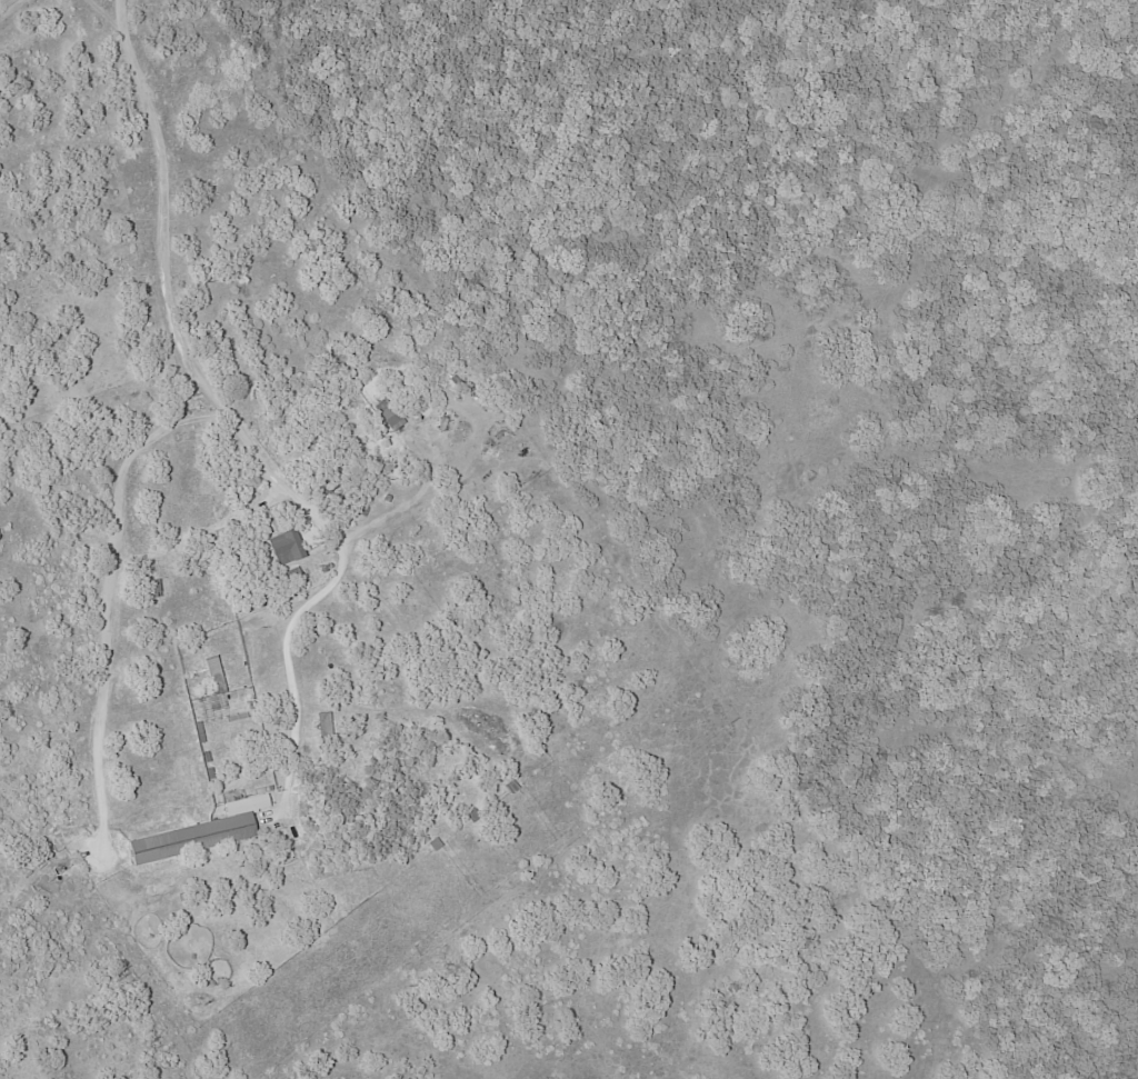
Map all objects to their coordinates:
building: (387, 414)
road: (174, 416)
road: (408, 506)
building: (283, 548)
road: (338, 559)
building: (212, 675)
building: (321, 726)
building: (199, 832)

